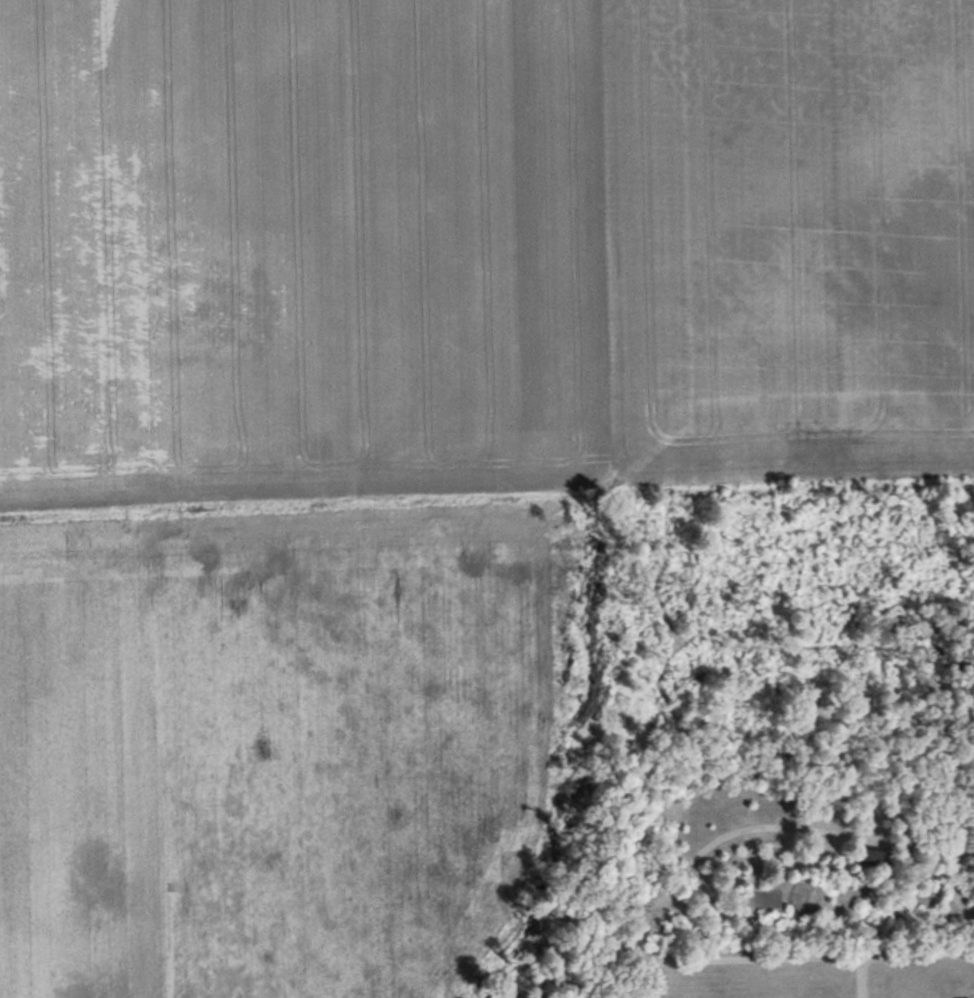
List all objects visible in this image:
building: (871, 854)
park: (804, 897)

